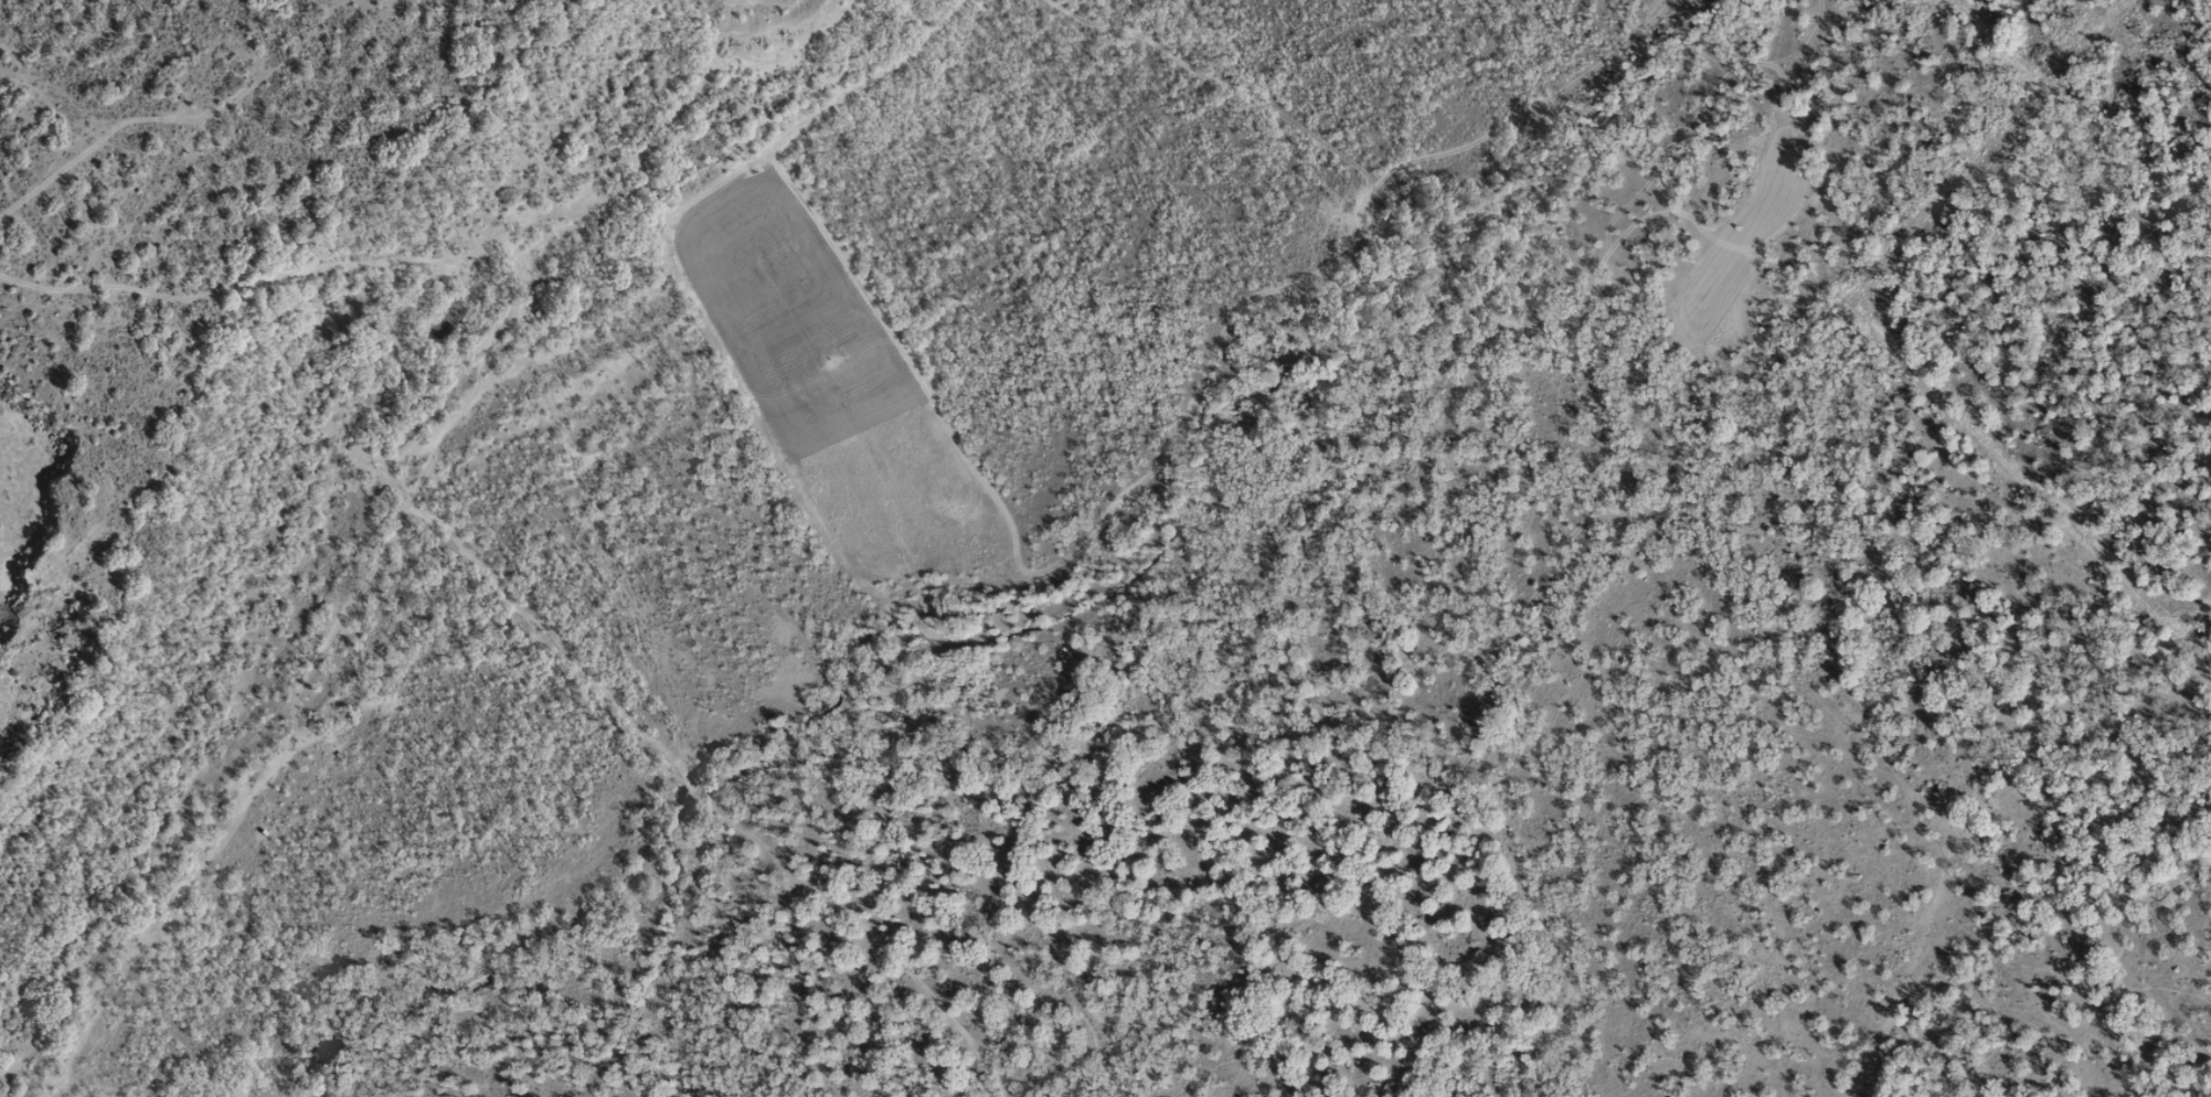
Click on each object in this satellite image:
road: (719, 98)

